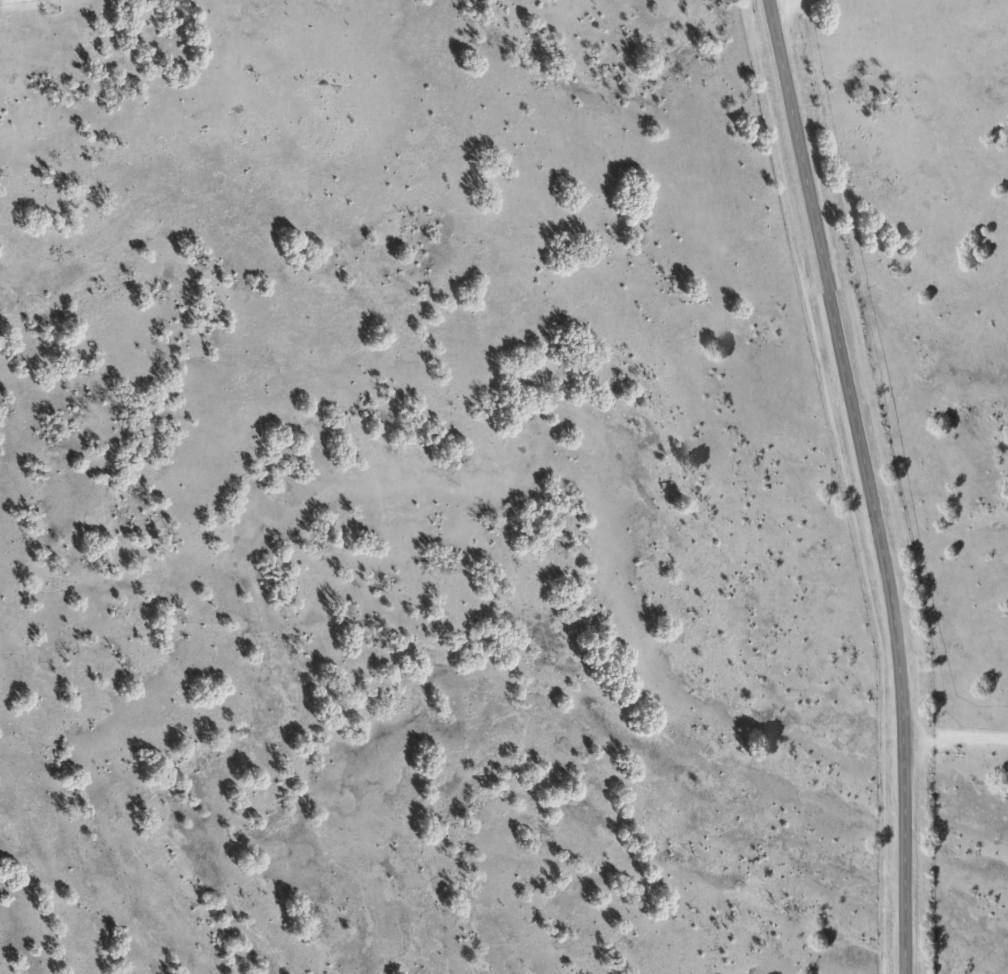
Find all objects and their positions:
road: (868, 483)

